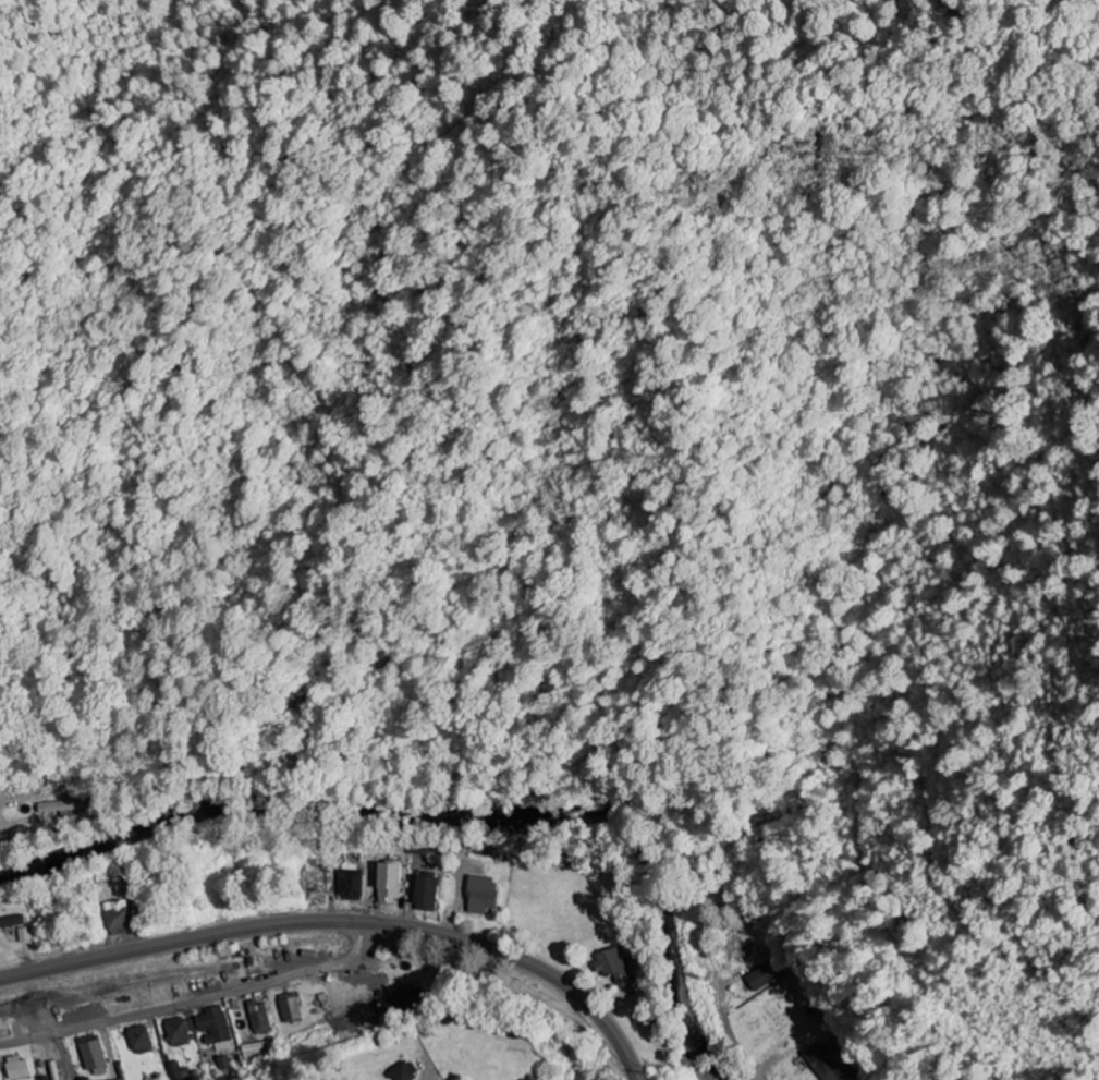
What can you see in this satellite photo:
building: (63, 806)
road: (3, 836)
building: (426, 847)
building: (390, 883)
building: (351, 885)
building: (426, 894)
building: (480, 895)
building: (118, 918)
road: (346, 921)
building: (12, 922)
building: (615, 966)
building: (766, 974)
road: (193, 999)
building: (351, 1000)
building: (402, 1002)
building: (285, 1008)
building: (255, 1017)
building: (206, 1026)
building: (172, 1031)
building: (134, 1040)
road: (734, 1042)
building: (255, 1051)
building: (87, 1053)
building: (823, 1064)
building: (12, 1068)
building: (403, 1071)

